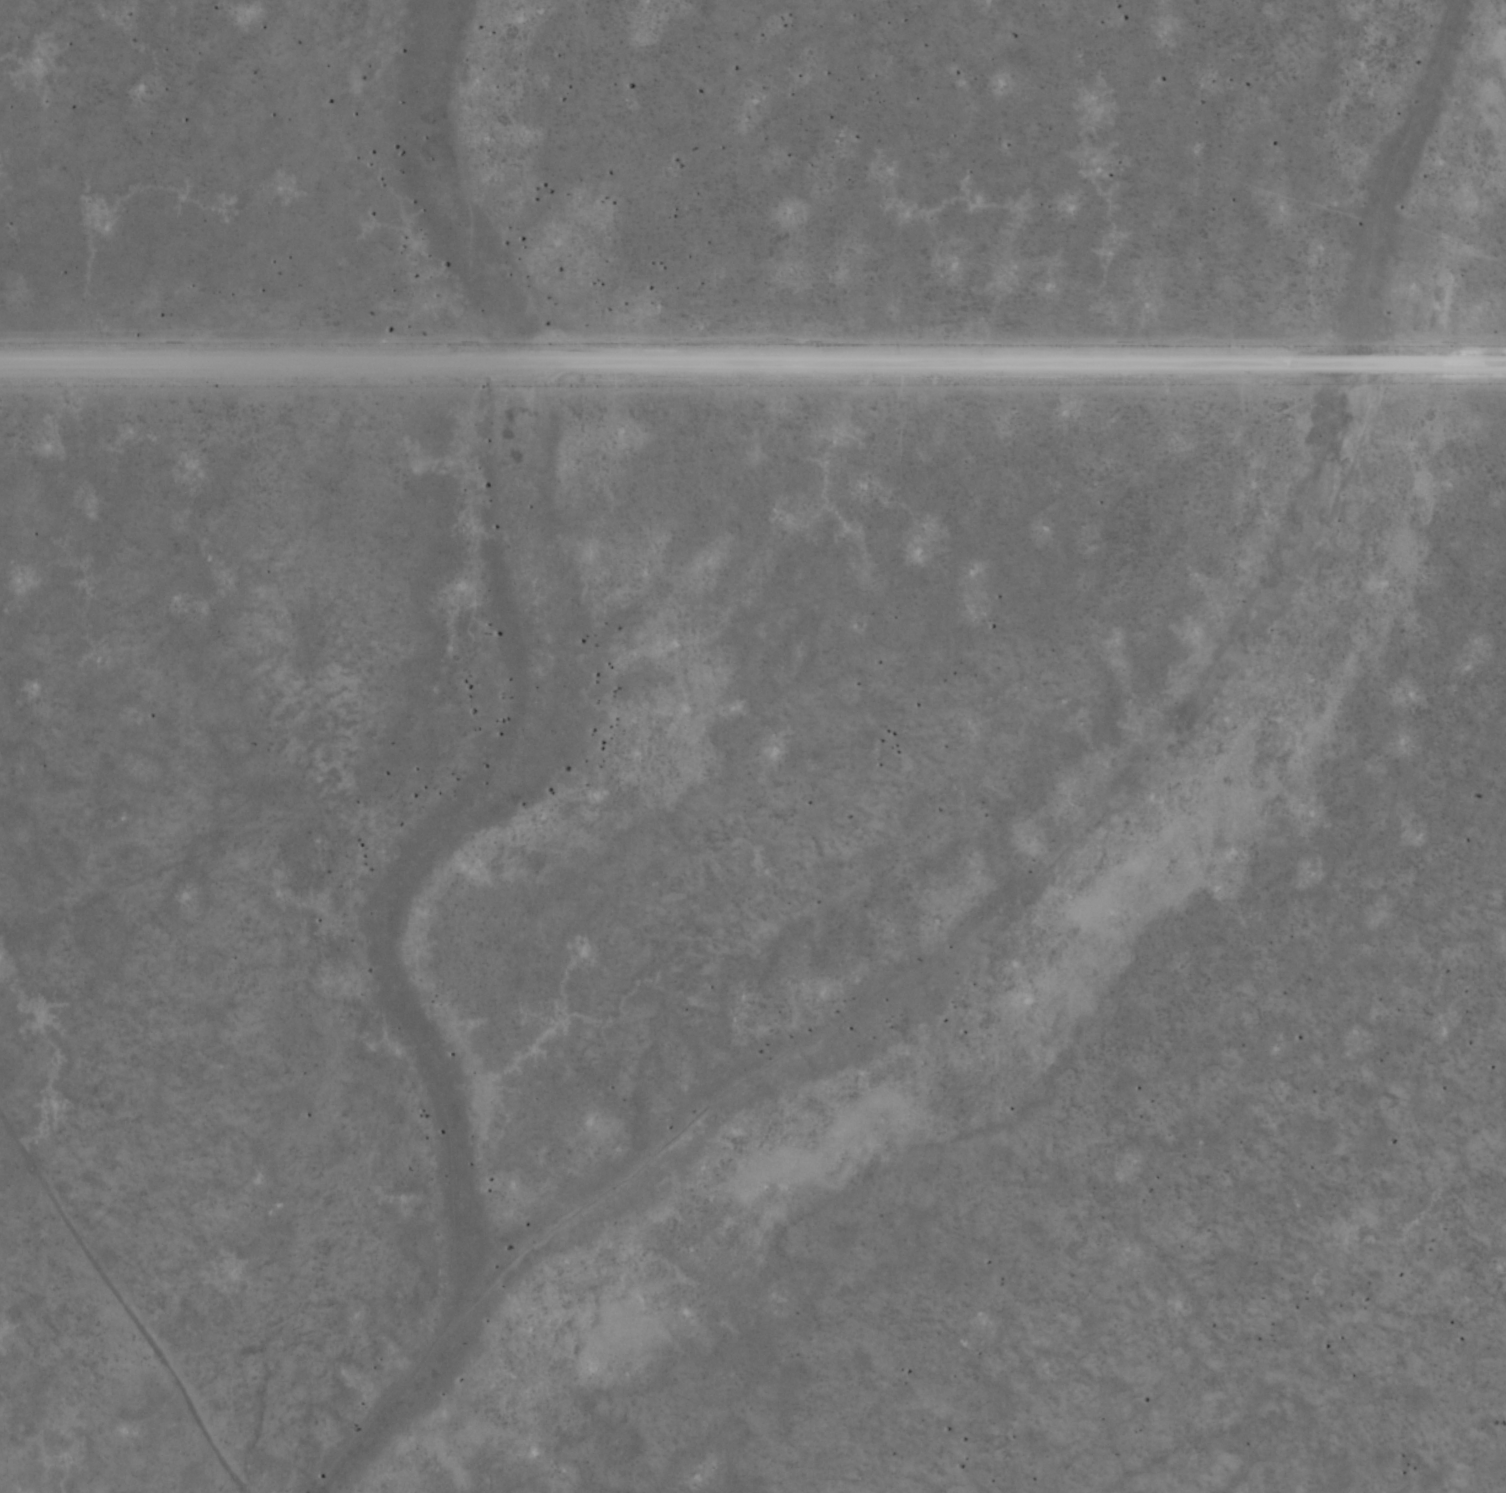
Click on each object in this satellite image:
road: (1339, 179)
road: (753, 362)

